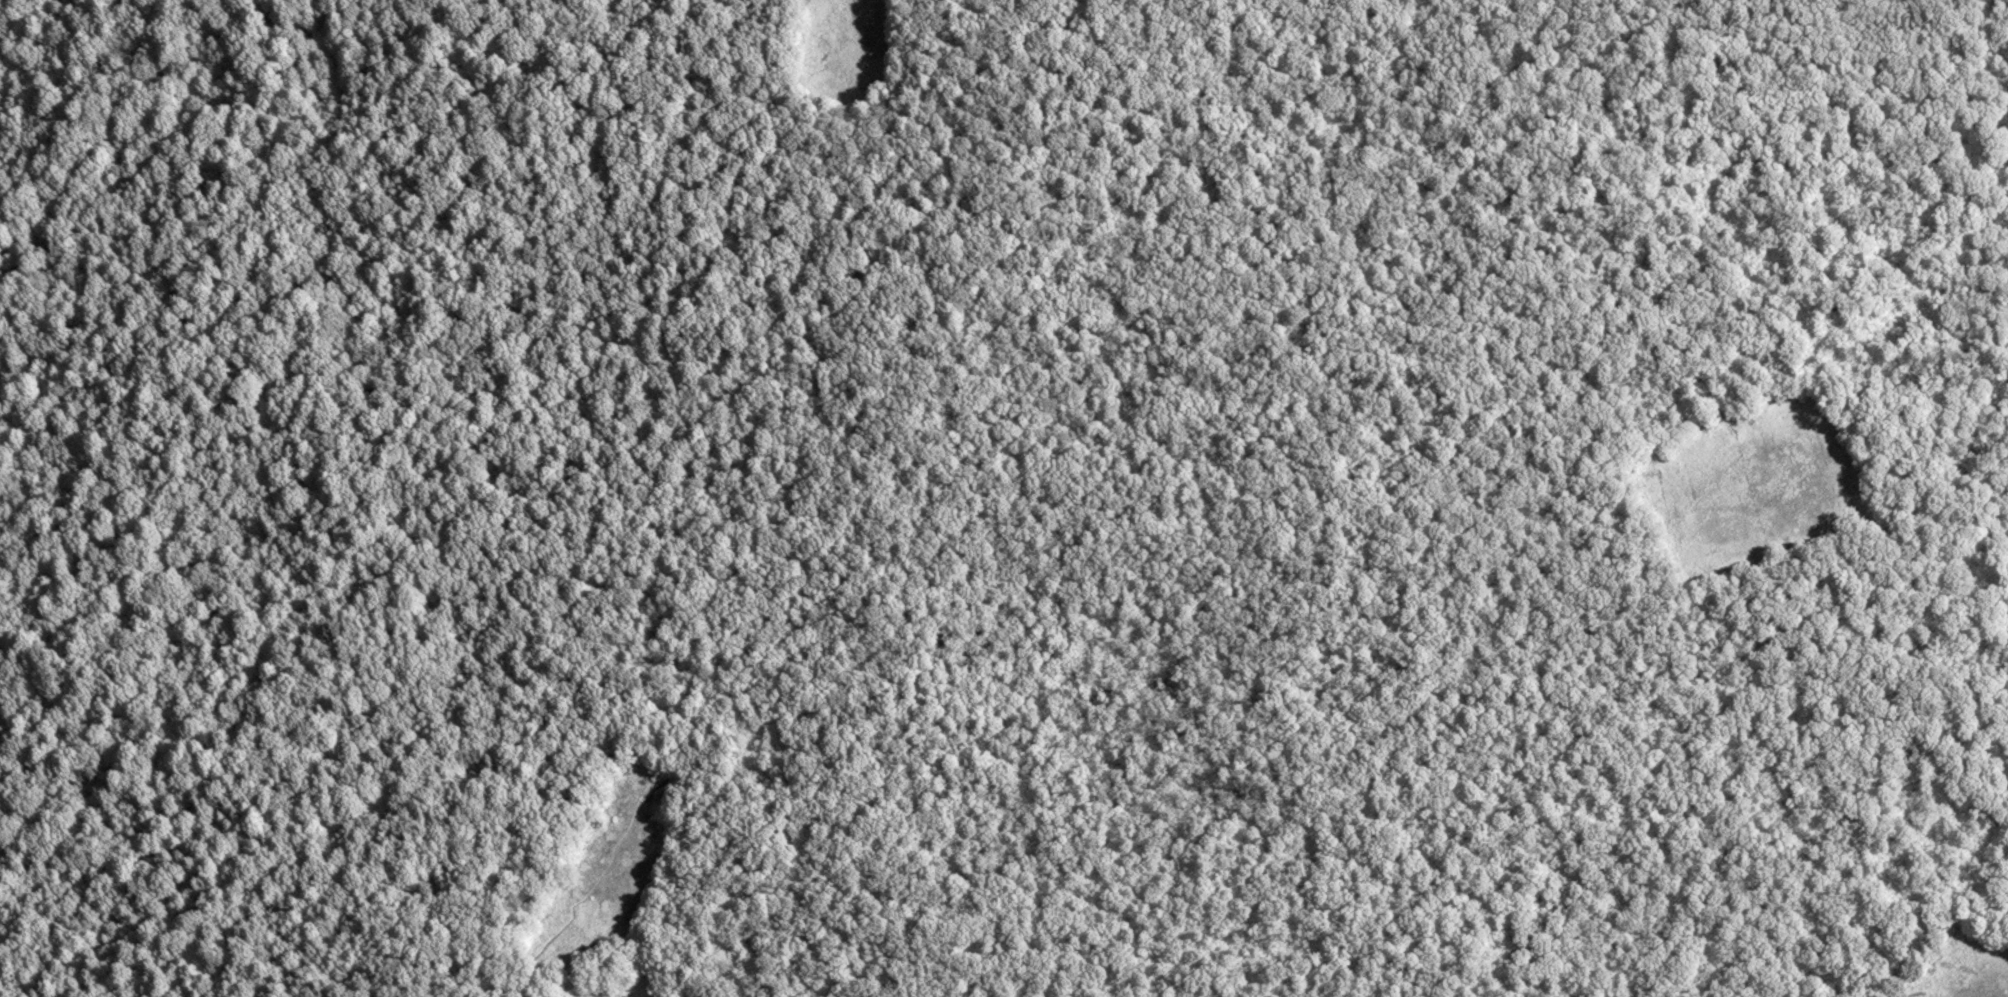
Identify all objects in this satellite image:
road: (729, 614)
road: (1959, 729)

